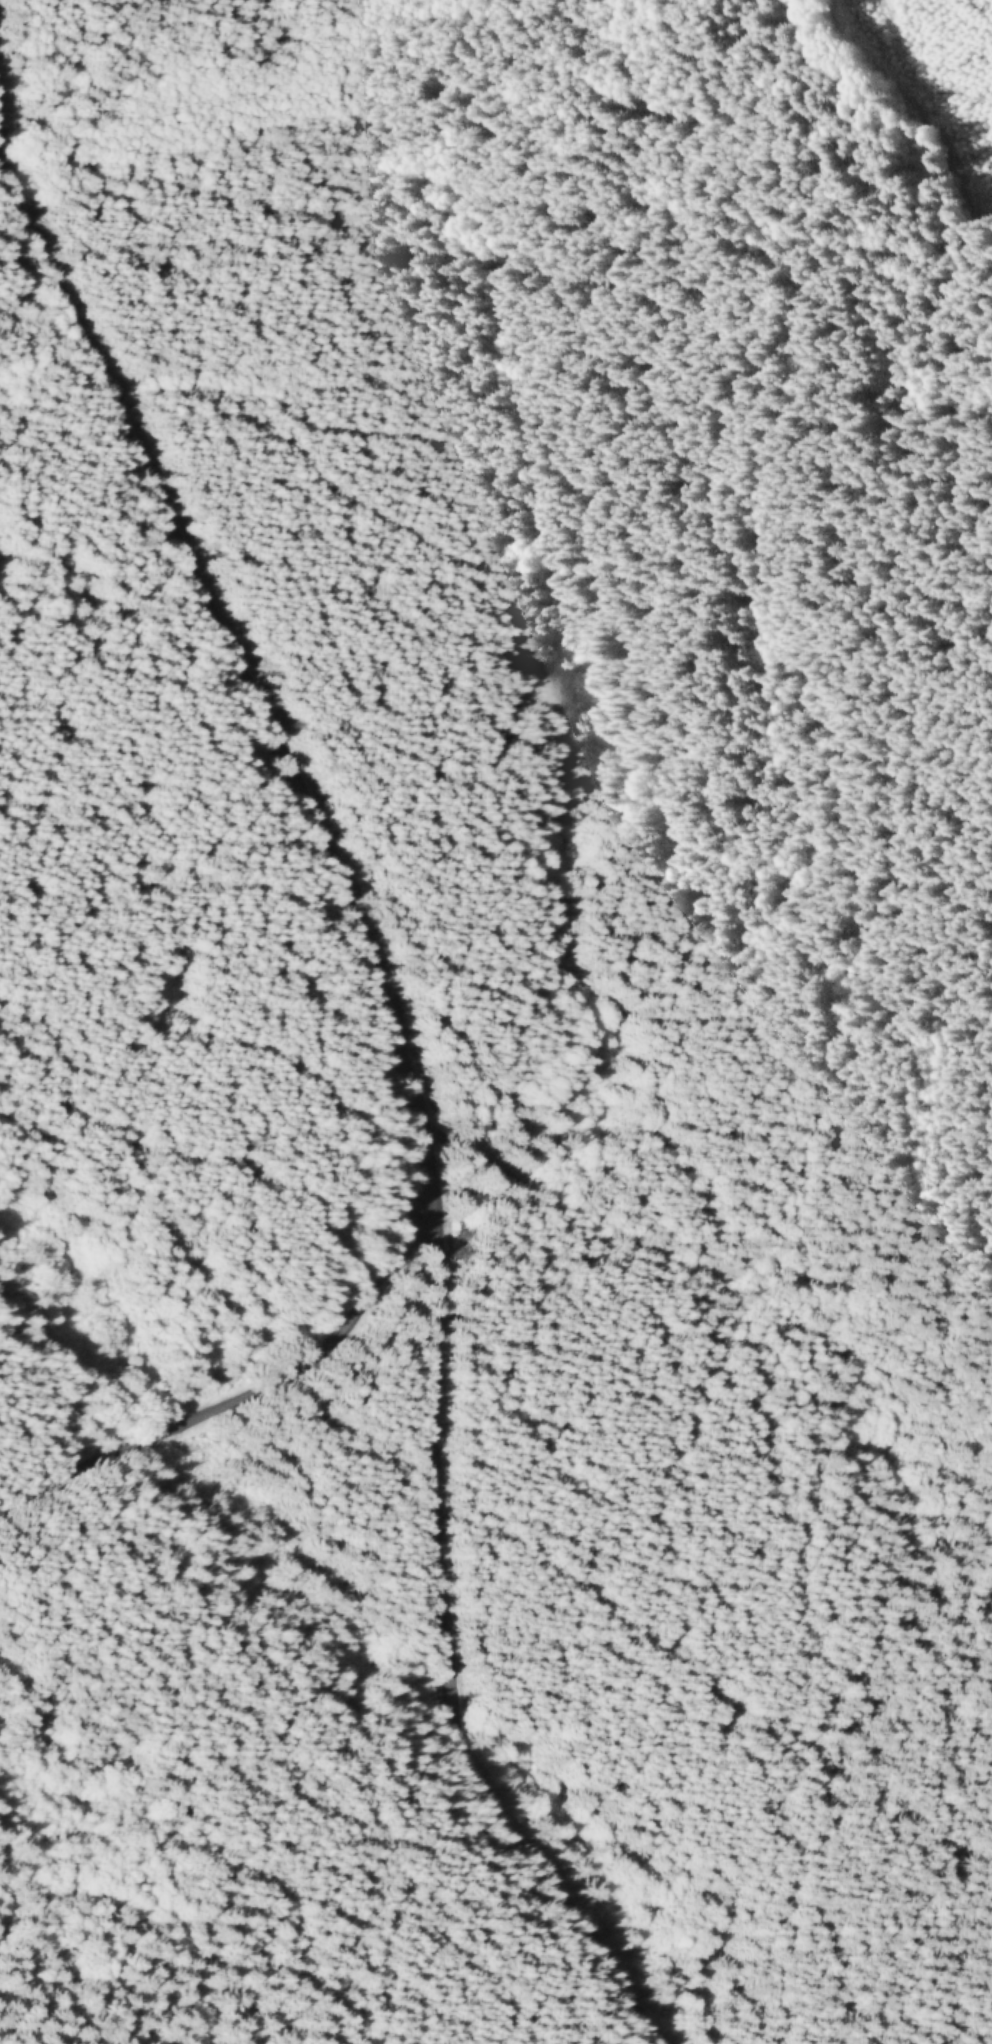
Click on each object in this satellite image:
road: (432, 1020)
road: (265, 1387)

